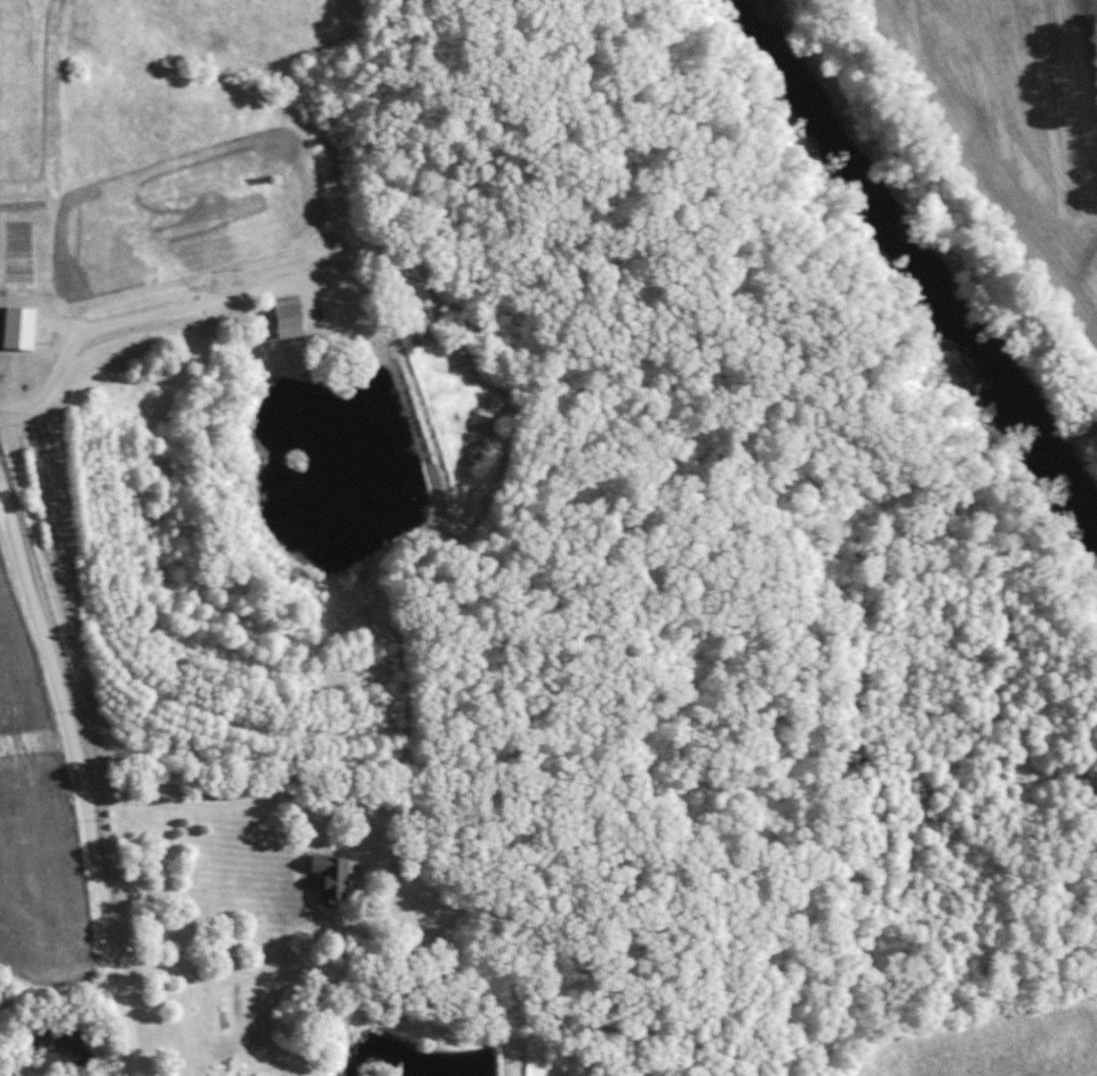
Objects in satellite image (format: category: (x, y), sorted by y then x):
river: (921, 267)
building: (288, 312)
building: (19, 327)
road: (85, 774)
building: (331, 876)

